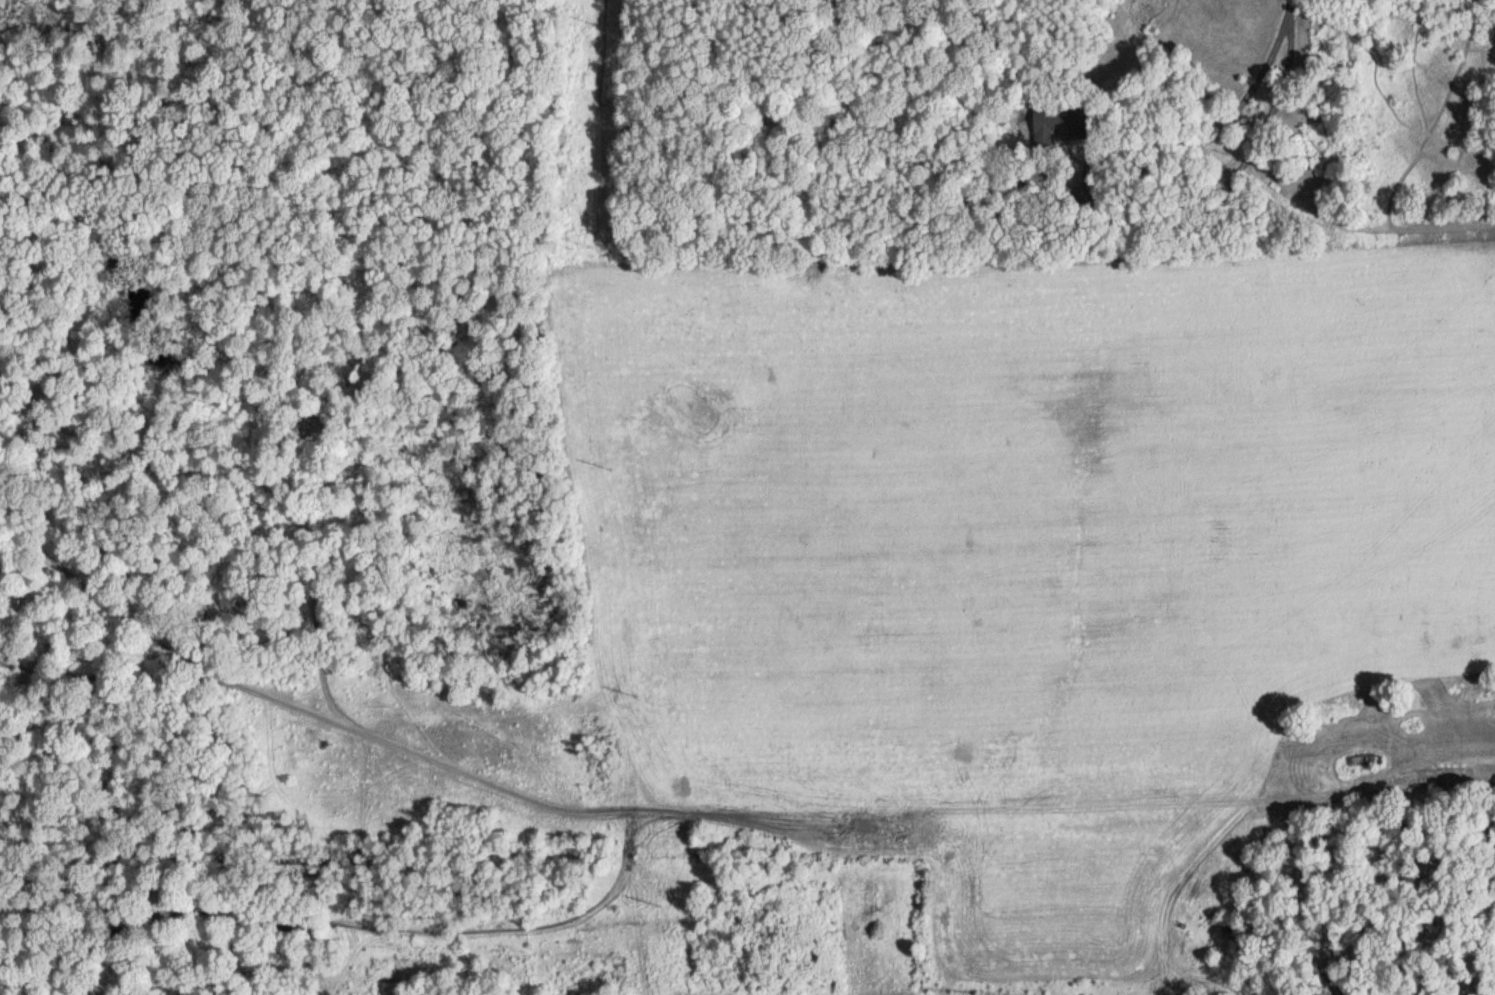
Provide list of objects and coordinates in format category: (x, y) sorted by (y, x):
road: (1227, 105)
building: (1050, 121)
building: (1407, 723)
building: (1287, 738)

